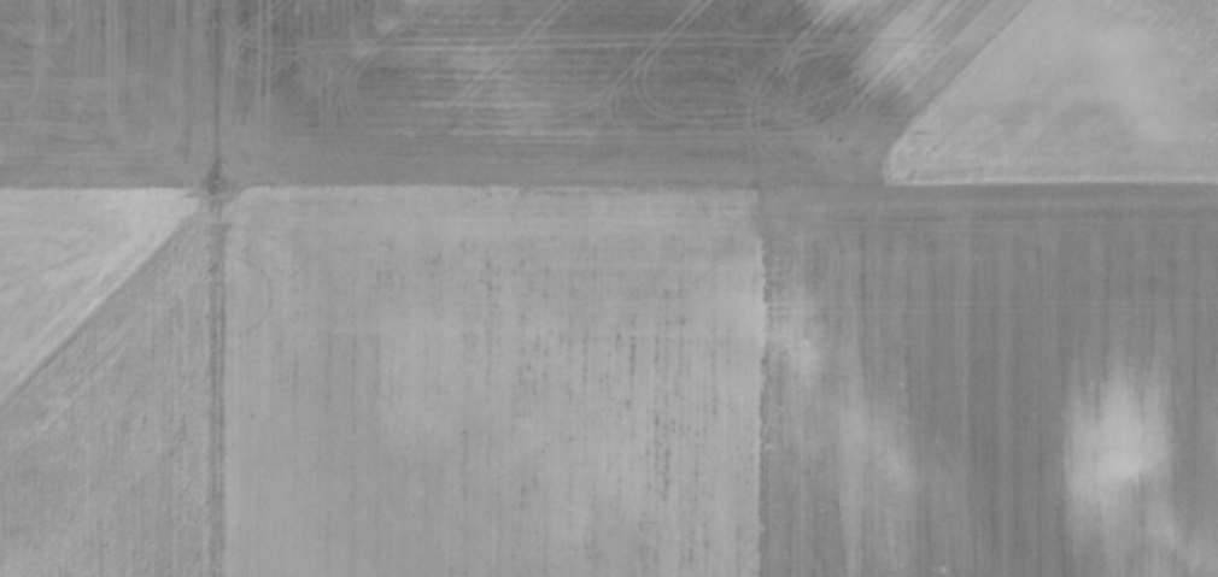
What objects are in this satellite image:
crop: (609, 288)

